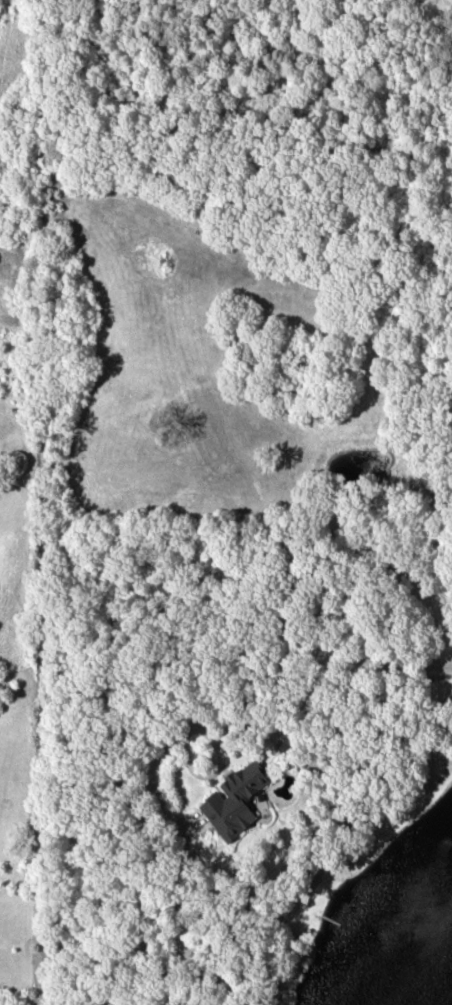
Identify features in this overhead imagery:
road: (444, 669)
building: (236, 799)

